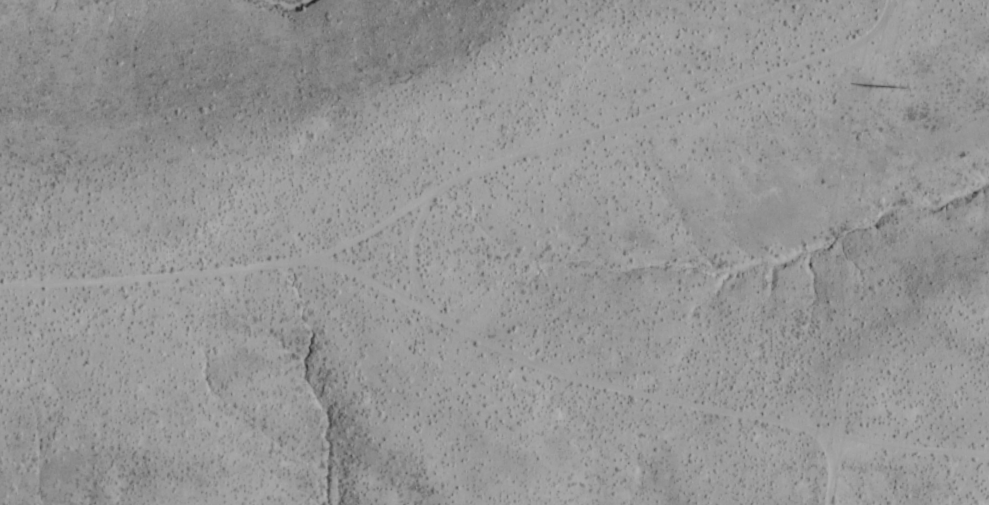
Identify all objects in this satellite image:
power tower: (899, 86)
road: (412, 244)
road: (205, 270)

